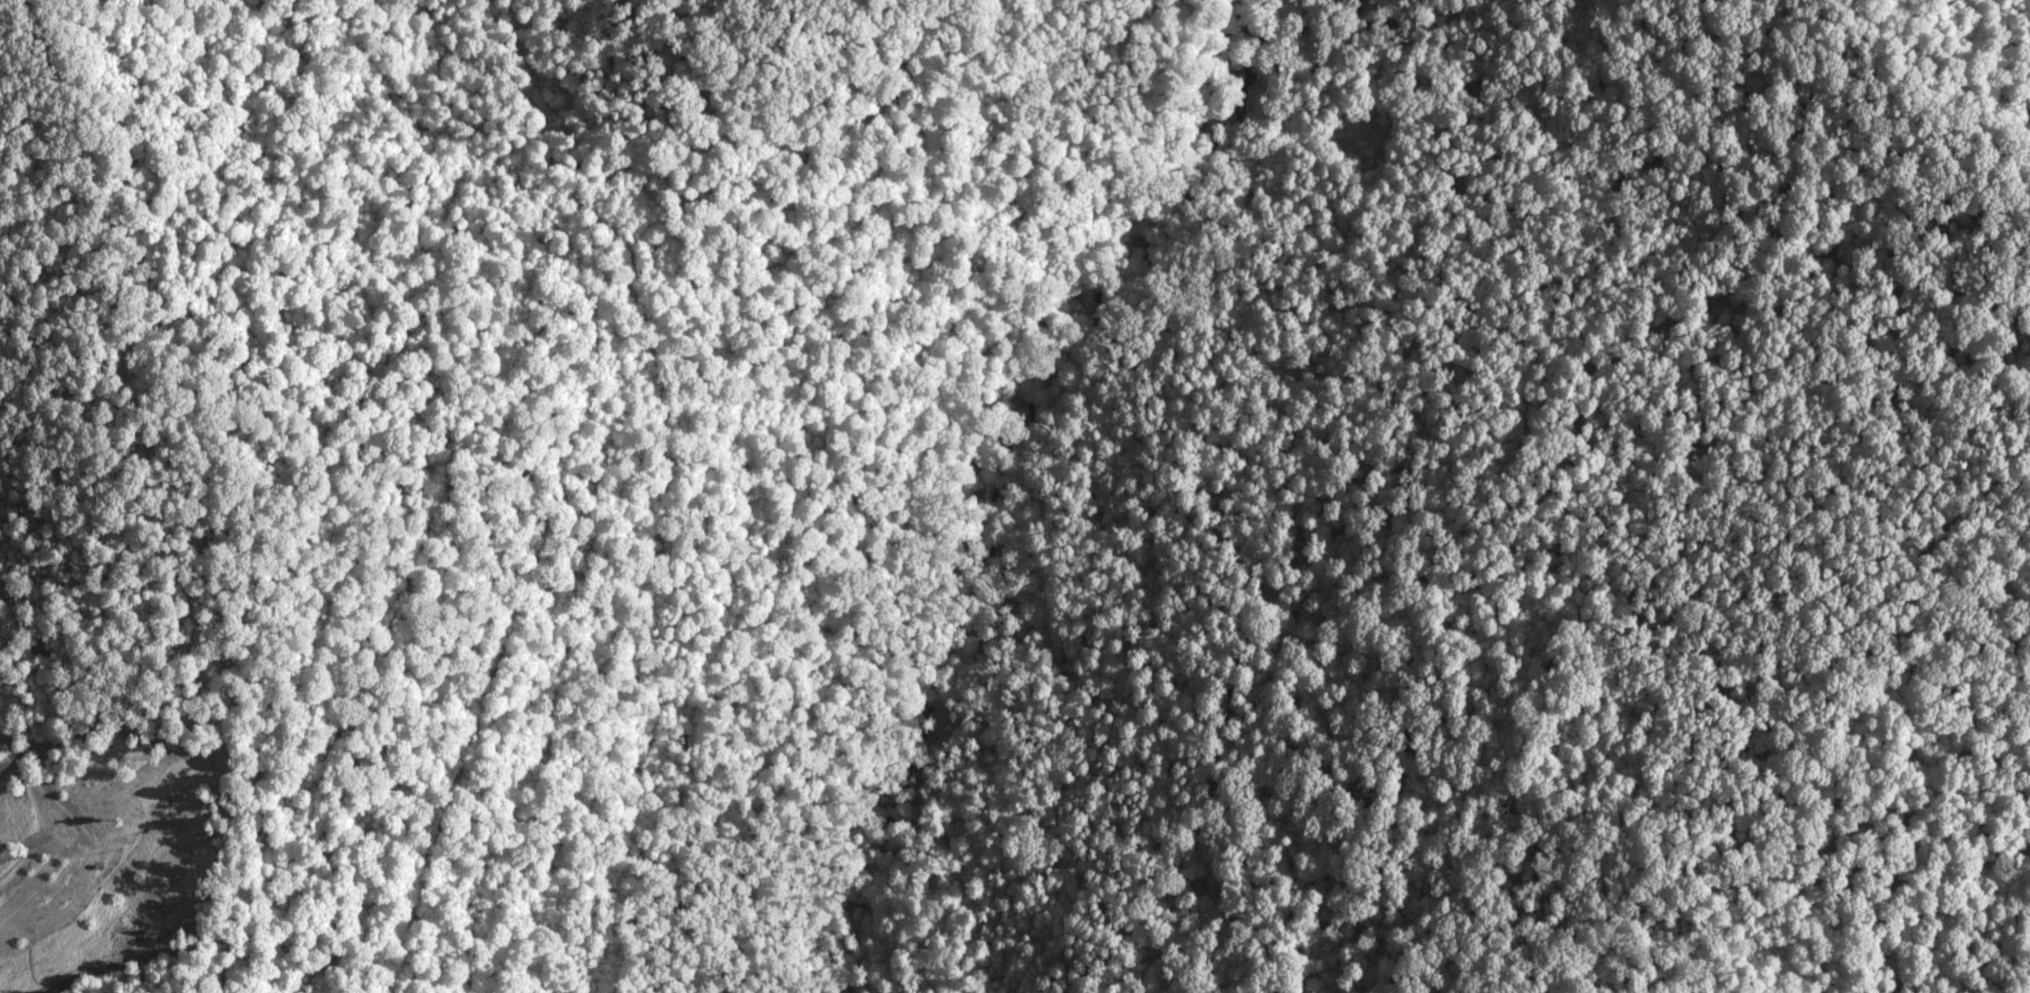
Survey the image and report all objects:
road: (1204, 244)

